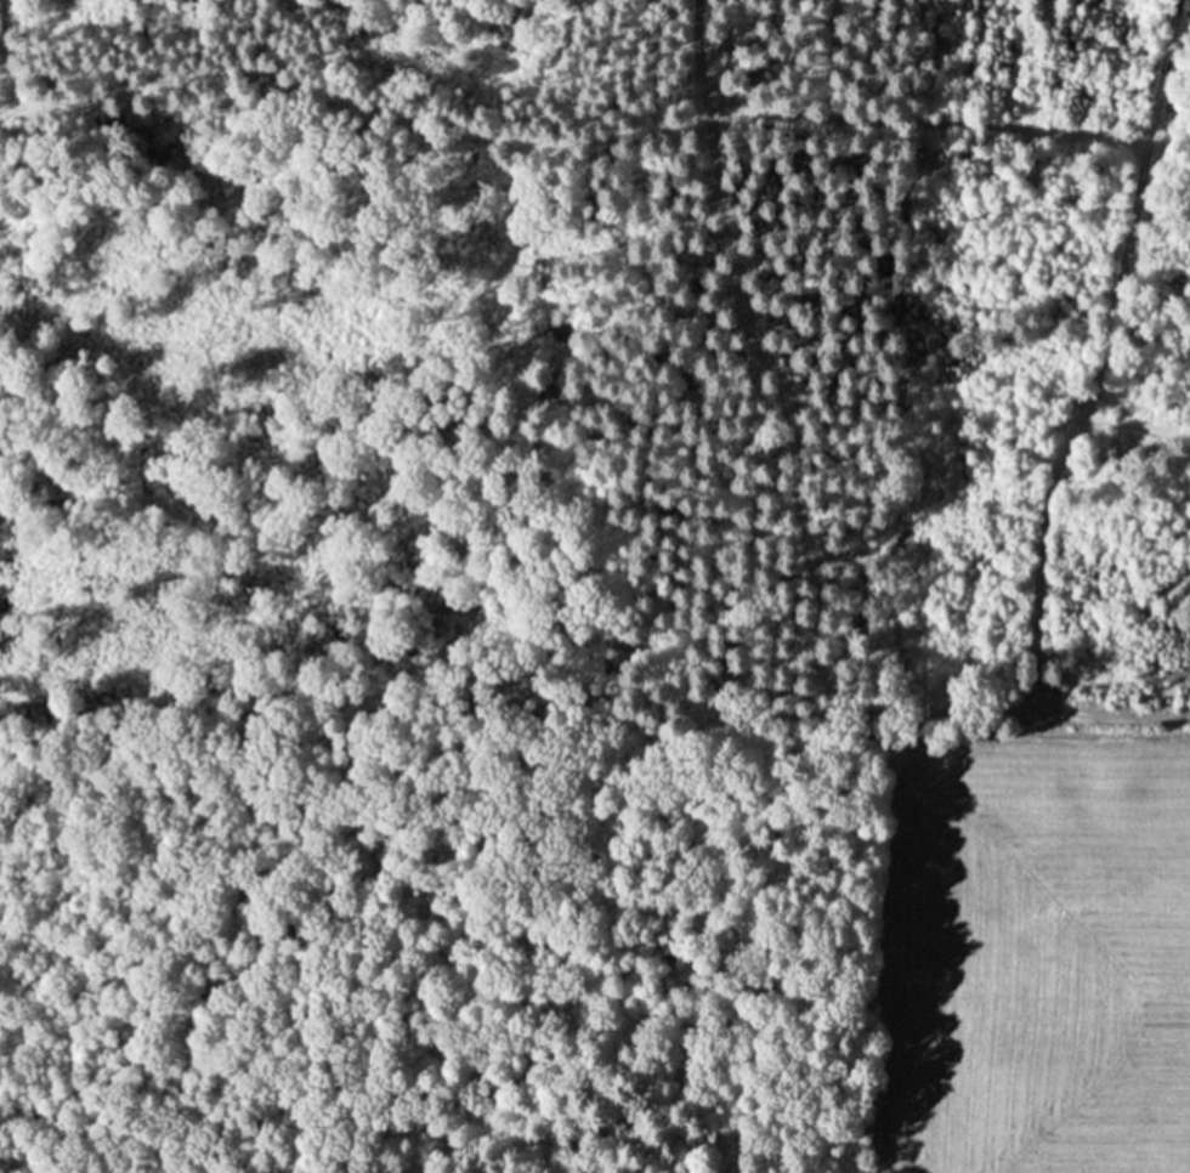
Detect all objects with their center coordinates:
road: (1072, 425)

